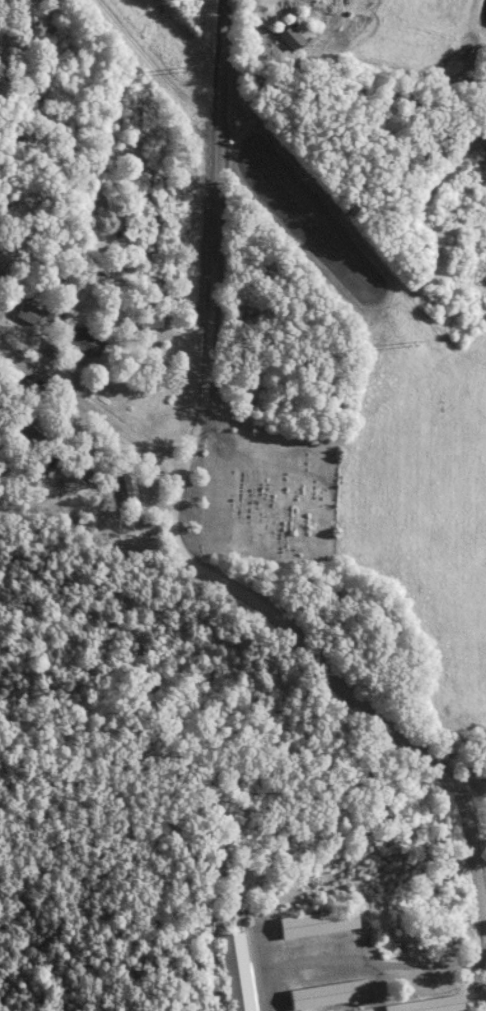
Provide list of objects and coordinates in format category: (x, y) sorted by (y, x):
building: (289, 39)
power tower: (177, 68)
building: (26, 315)
building: (80, 343)
power tower: (410, 344)
road: (87, 405)
building: (26, 428)
building: (128, 495)
road: (173, 534)
road: (481, 897)
building: (316, 925)
building: (234, 973)
building: (327, 996)
building: (428, 1005)
building: (366, 1010)

